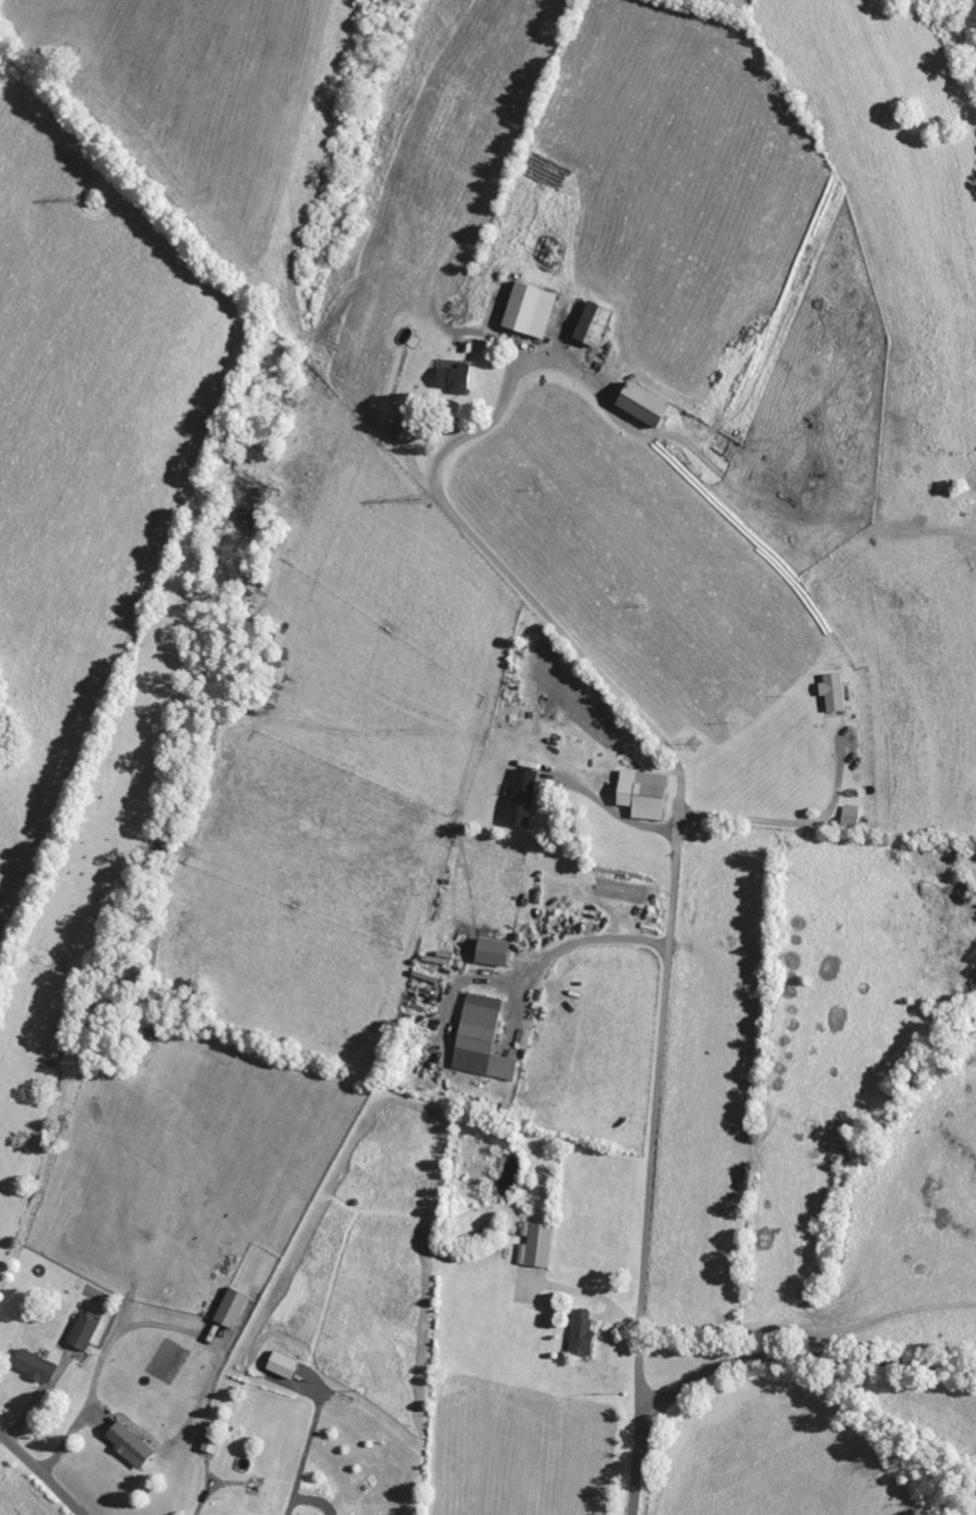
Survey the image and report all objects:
building: (527, 311)
building: (590, 325)
building: (452, 379)
building: (640, 406)
building: (832, 692)
power tower: (695, 744)
building: (642, 794)
building: (520, 797)
road: (675, 871)
road: (575, 942)
building: (490, 952)
building: (480, 1039)
building: (535, 1245)
building: (230, 1309)
building: (81, 1333)
building: (581, 1333)
road: (755, 1355)
building: (281, 1365)
building: (32, 1366)
building: (127, 1444)
road: (304, 1454)
road: (45, 1471)

